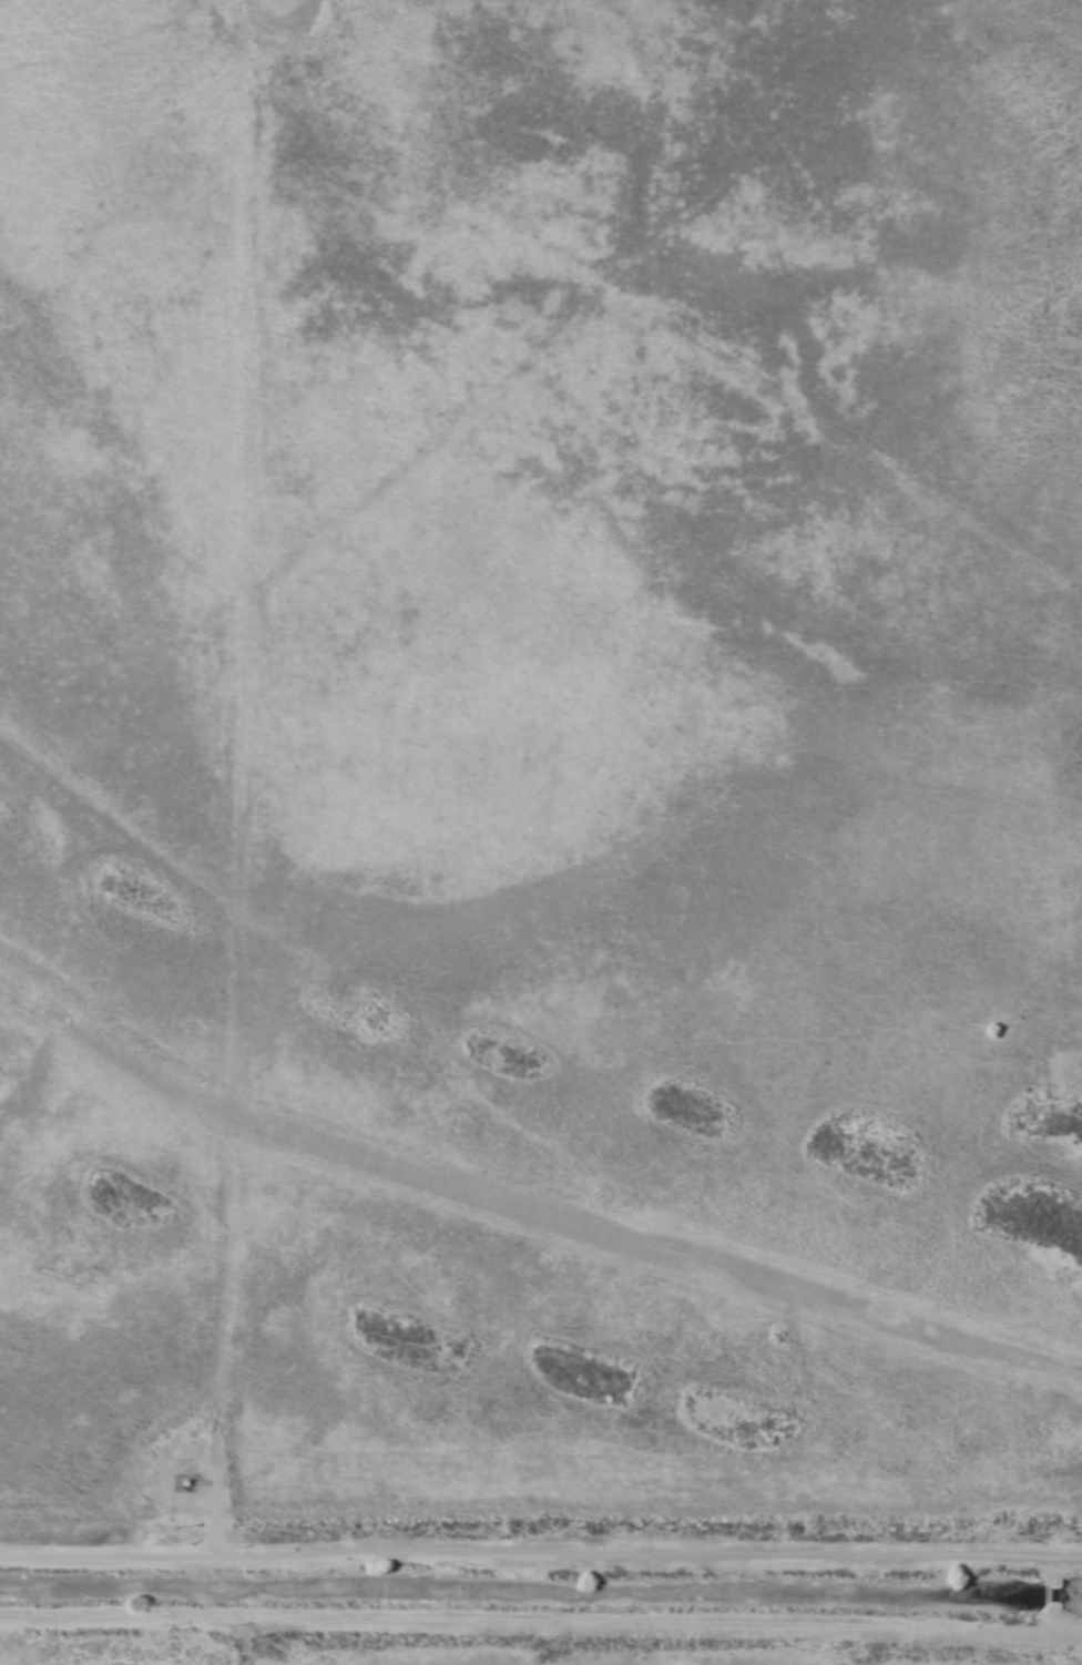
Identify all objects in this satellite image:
crop: (541, 832)
road: (540, 1560)
road: (541, 1612)

